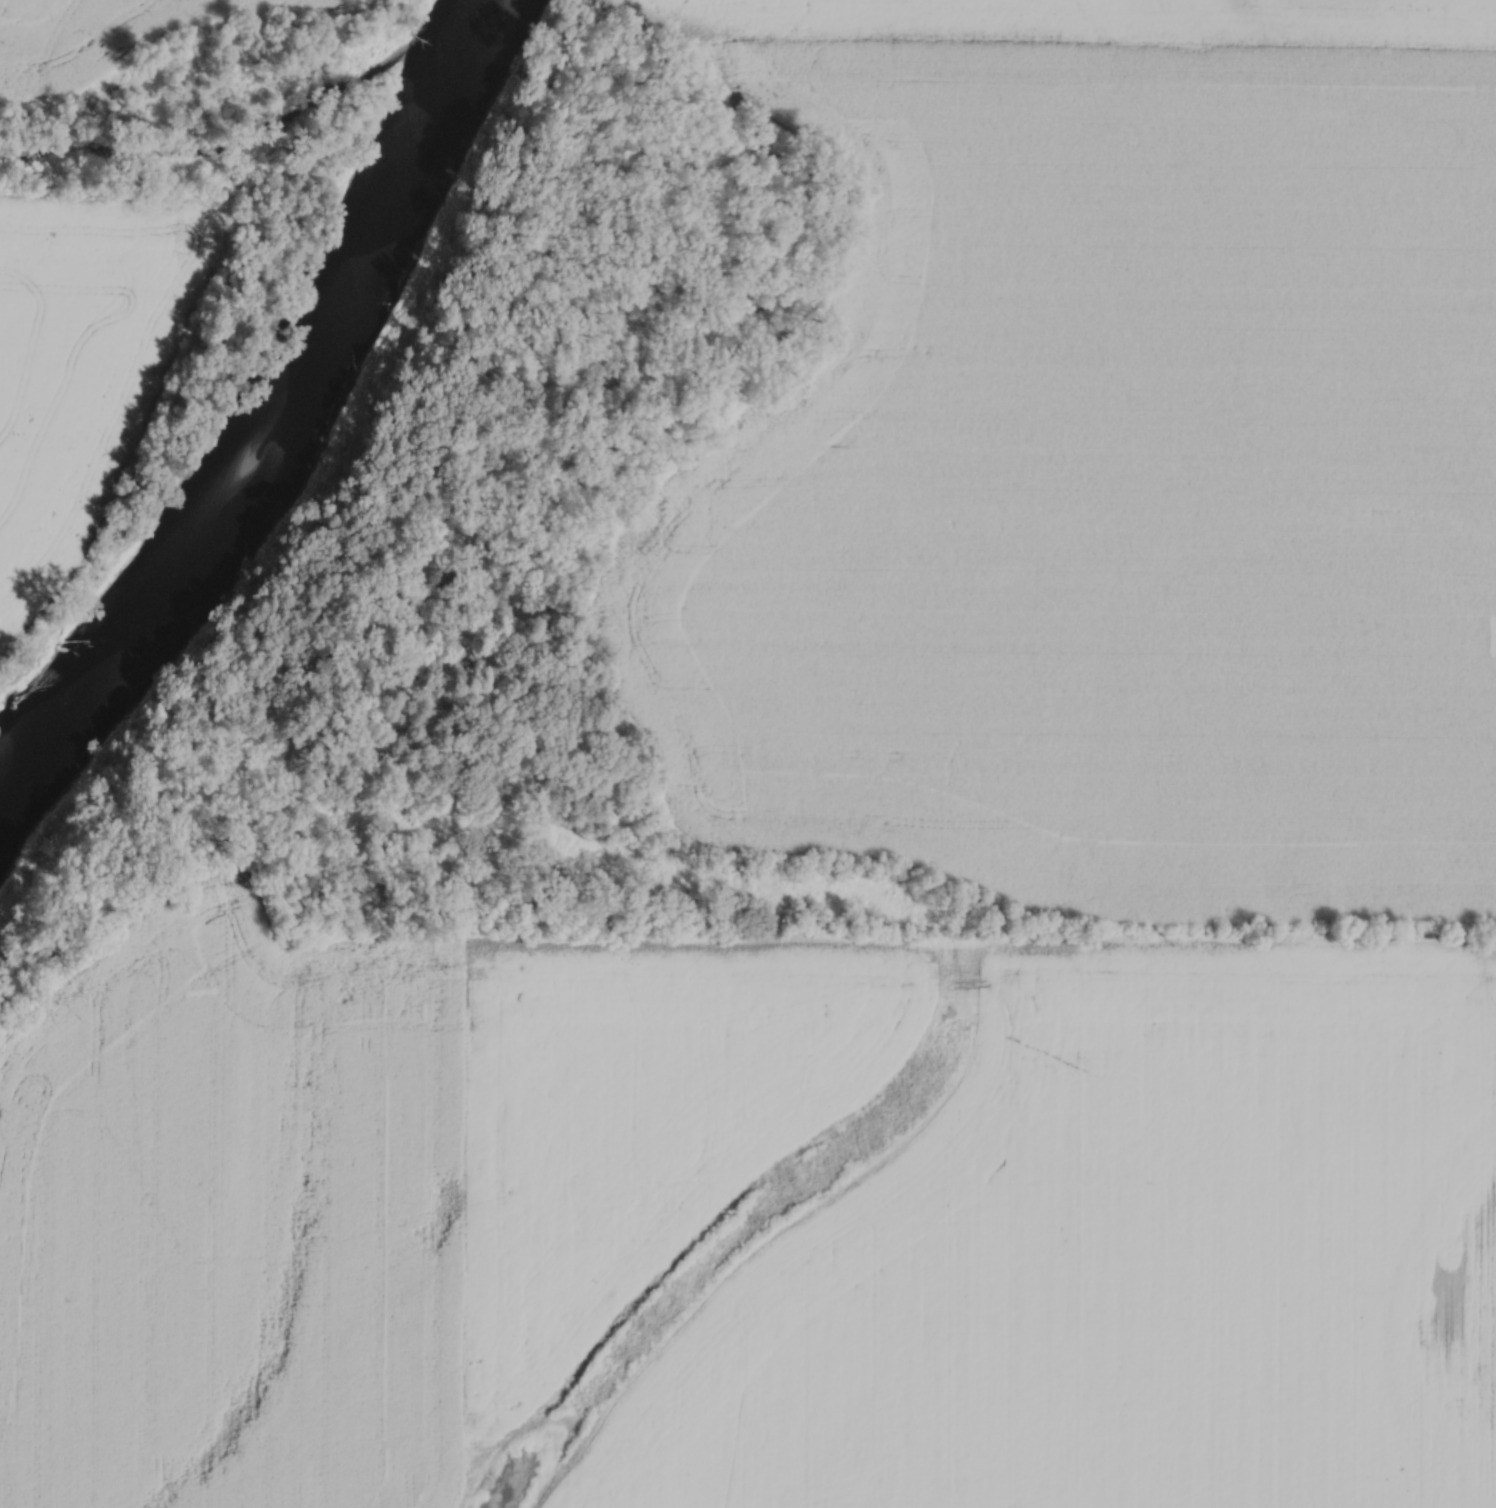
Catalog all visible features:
river: (286, 423)

